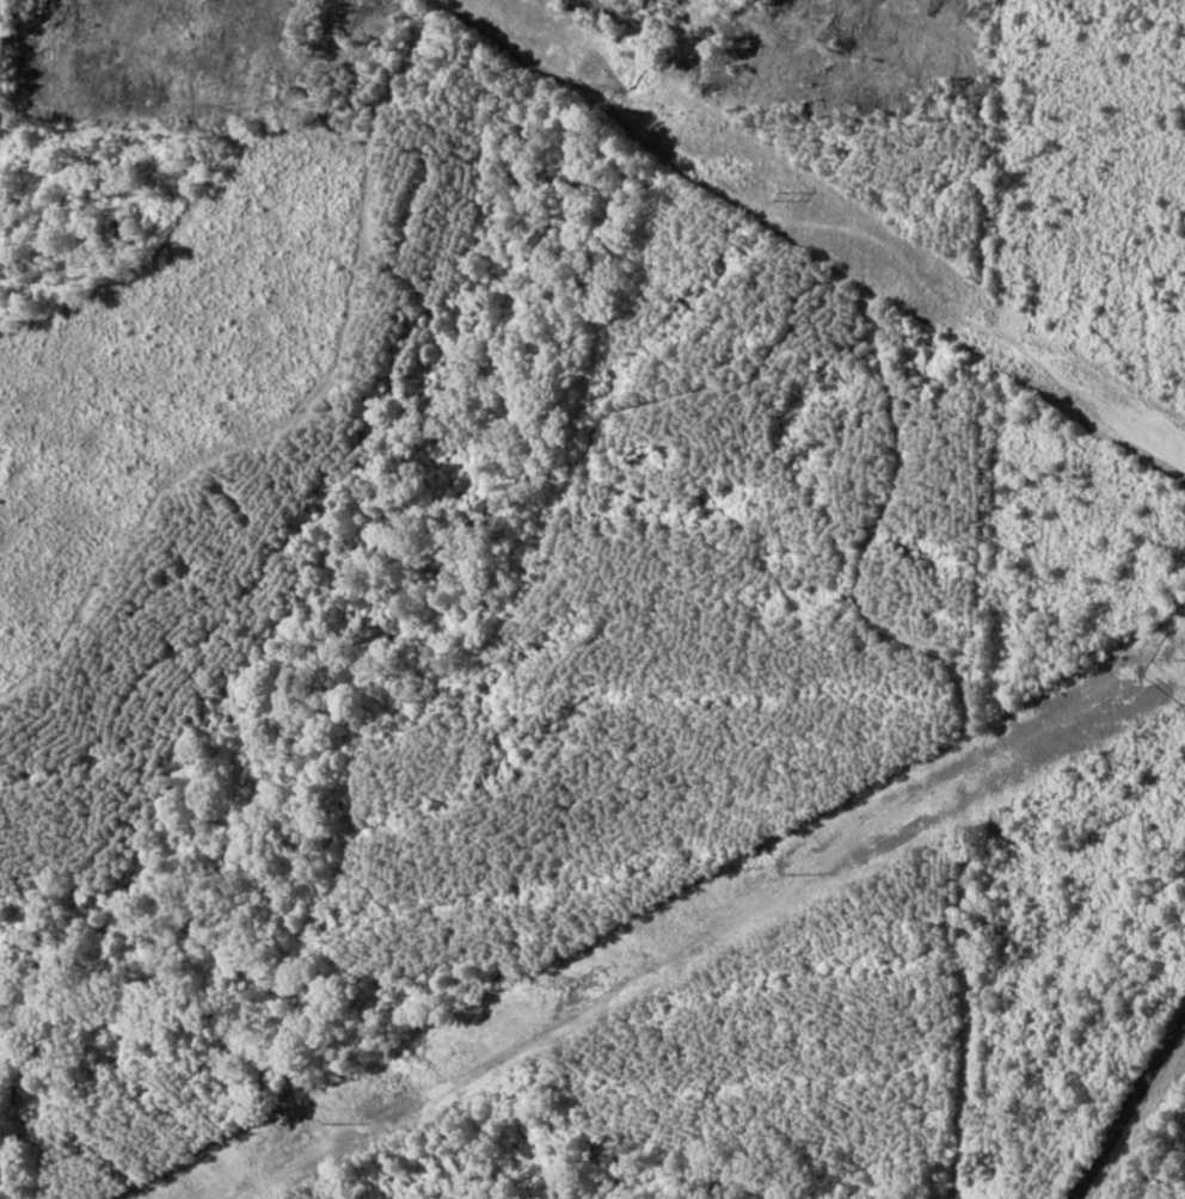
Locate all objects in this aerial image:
road: (1144, 1131)

